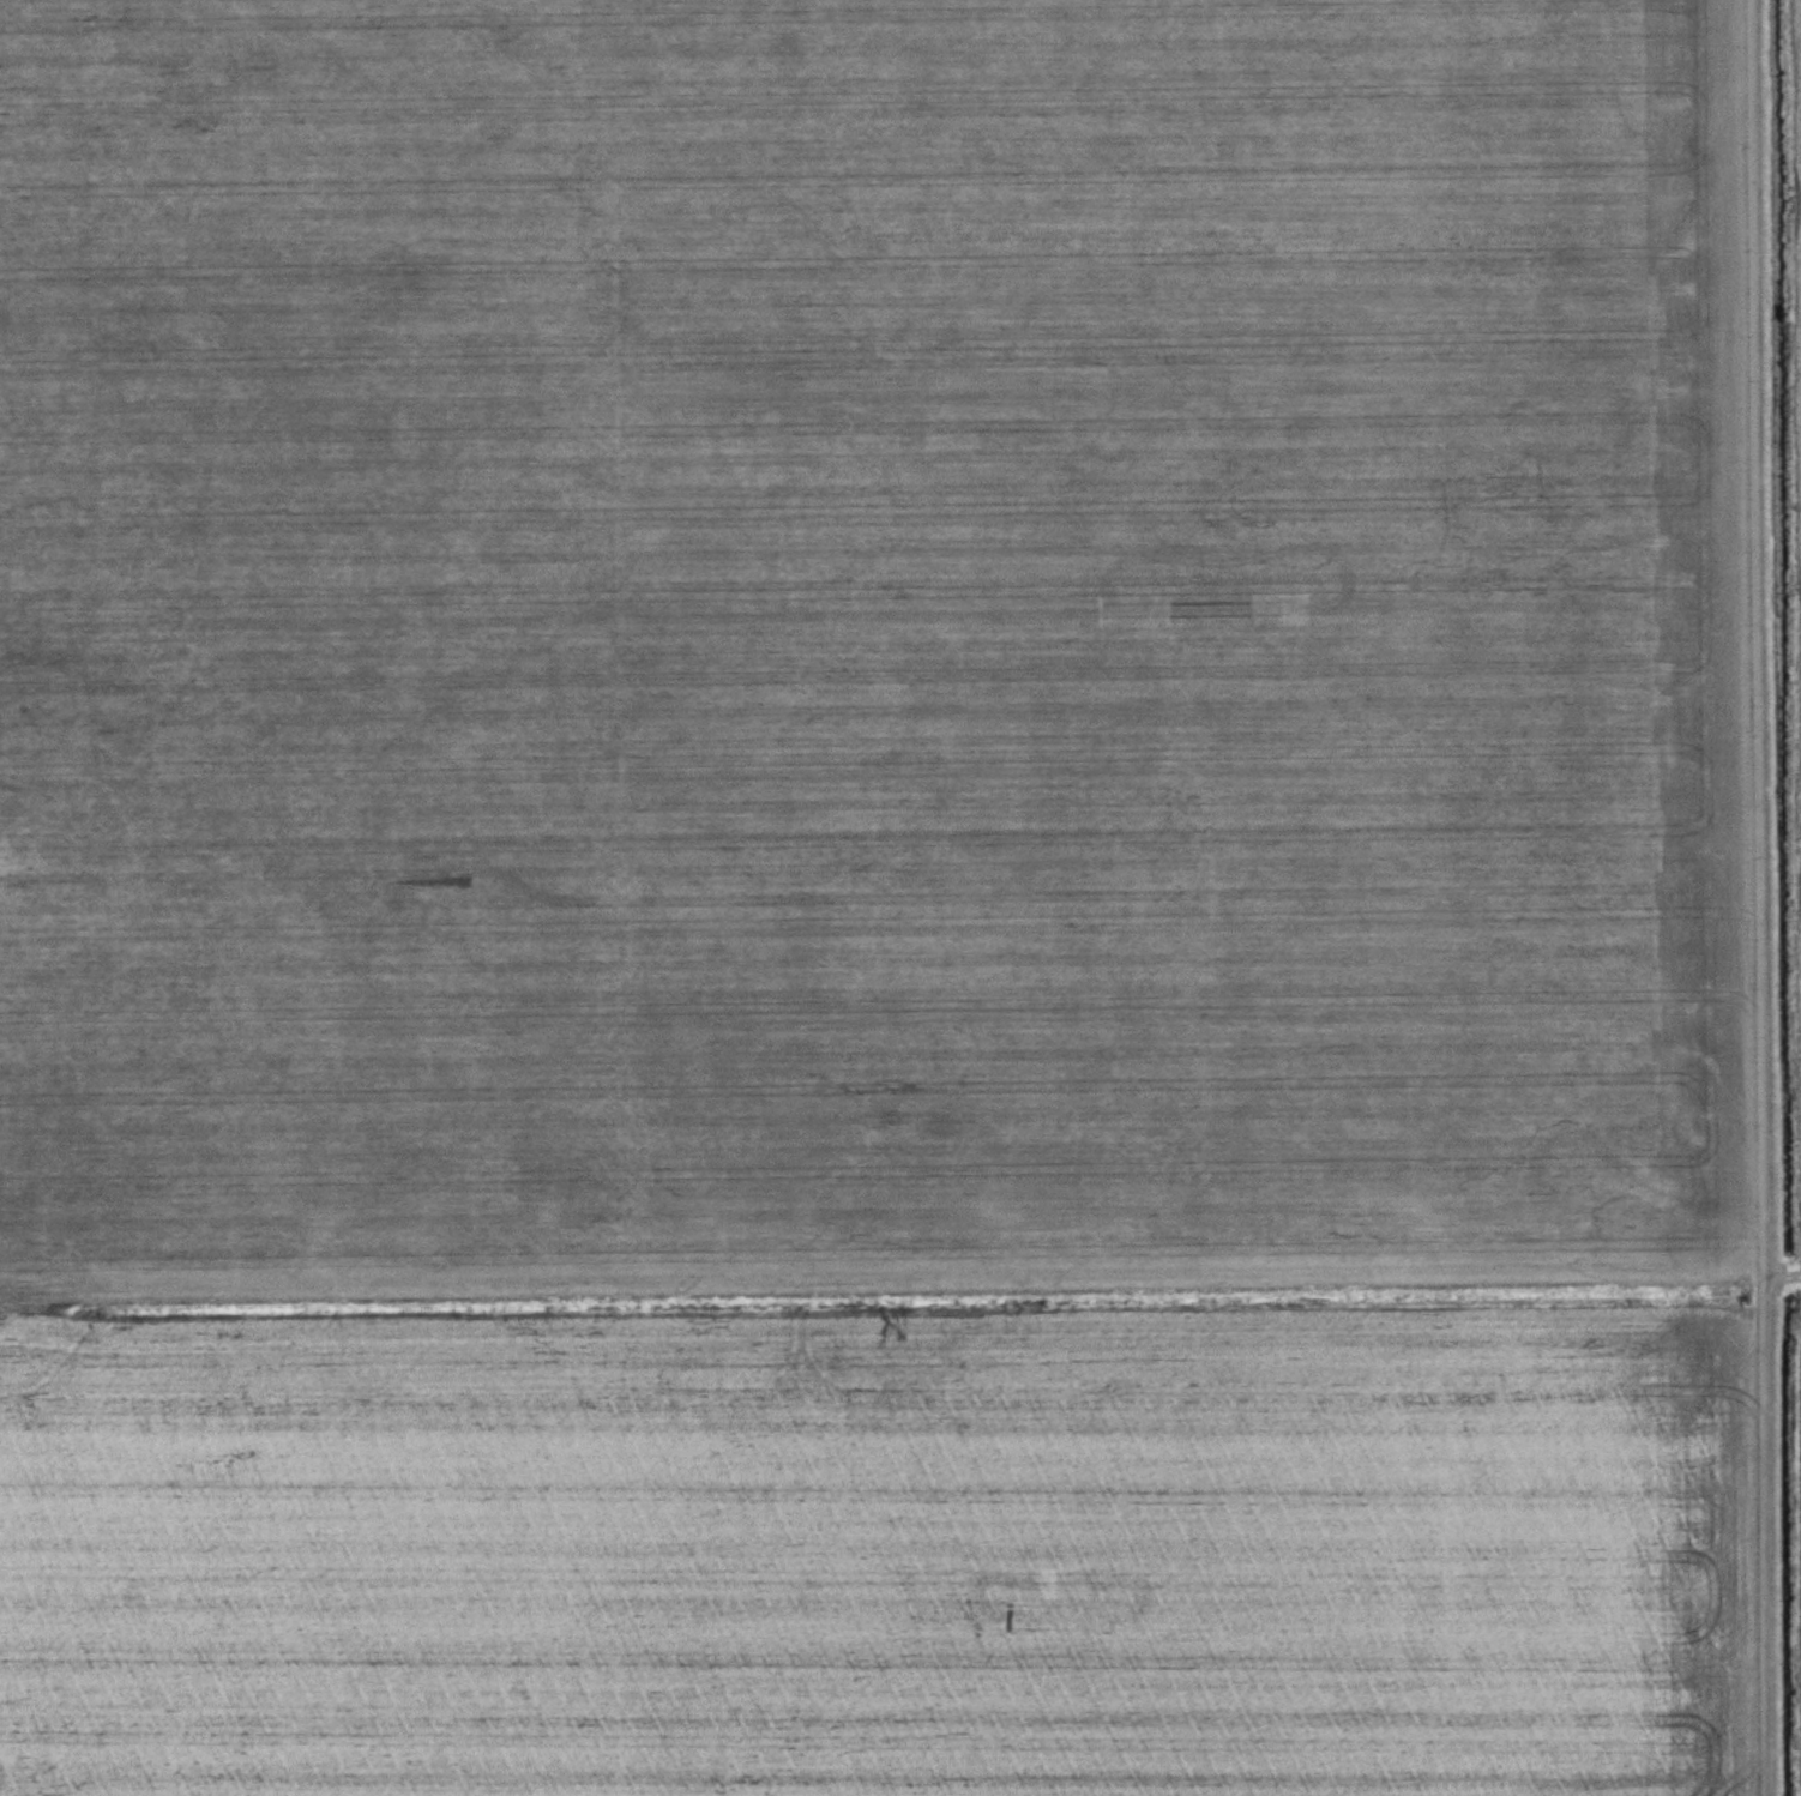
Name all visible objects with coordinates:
crop: (1797, 627)
road: (1761, 897)
crop: (873, 898)

